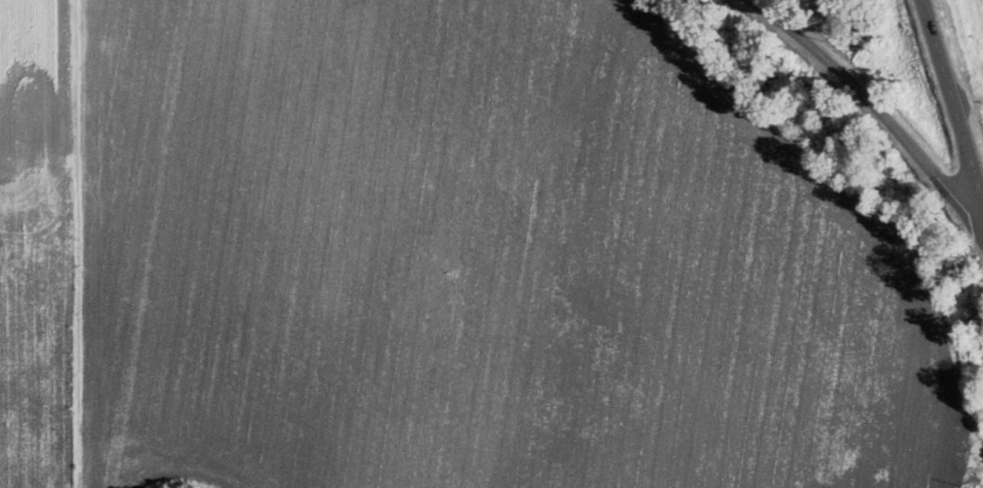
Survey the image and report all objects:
road: (959, 86)
road: (877, 94)

